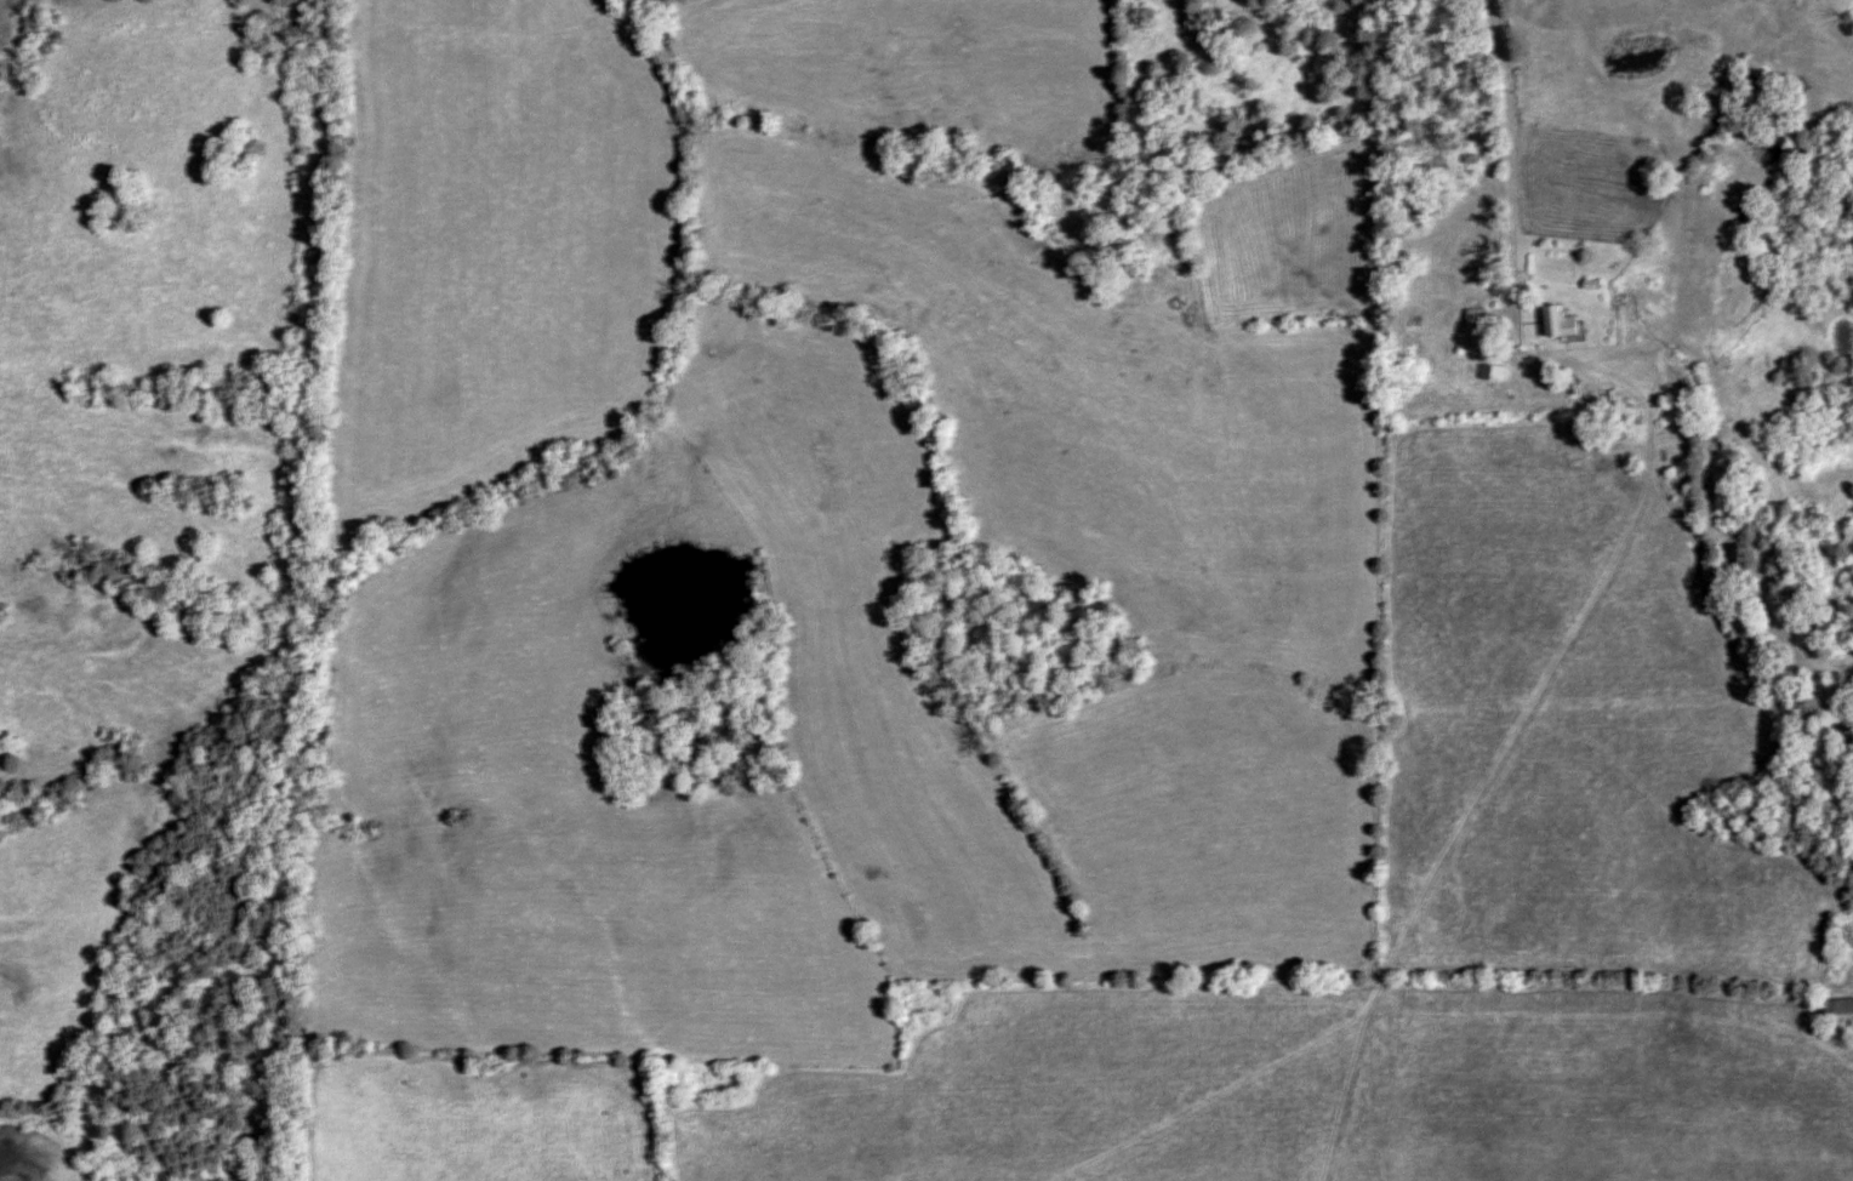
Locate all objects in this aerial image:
road: (1521, 116)
building: (1704, 308)
building: (1555, 321)
building: (1494, 373)
building: (1835, 1012)

